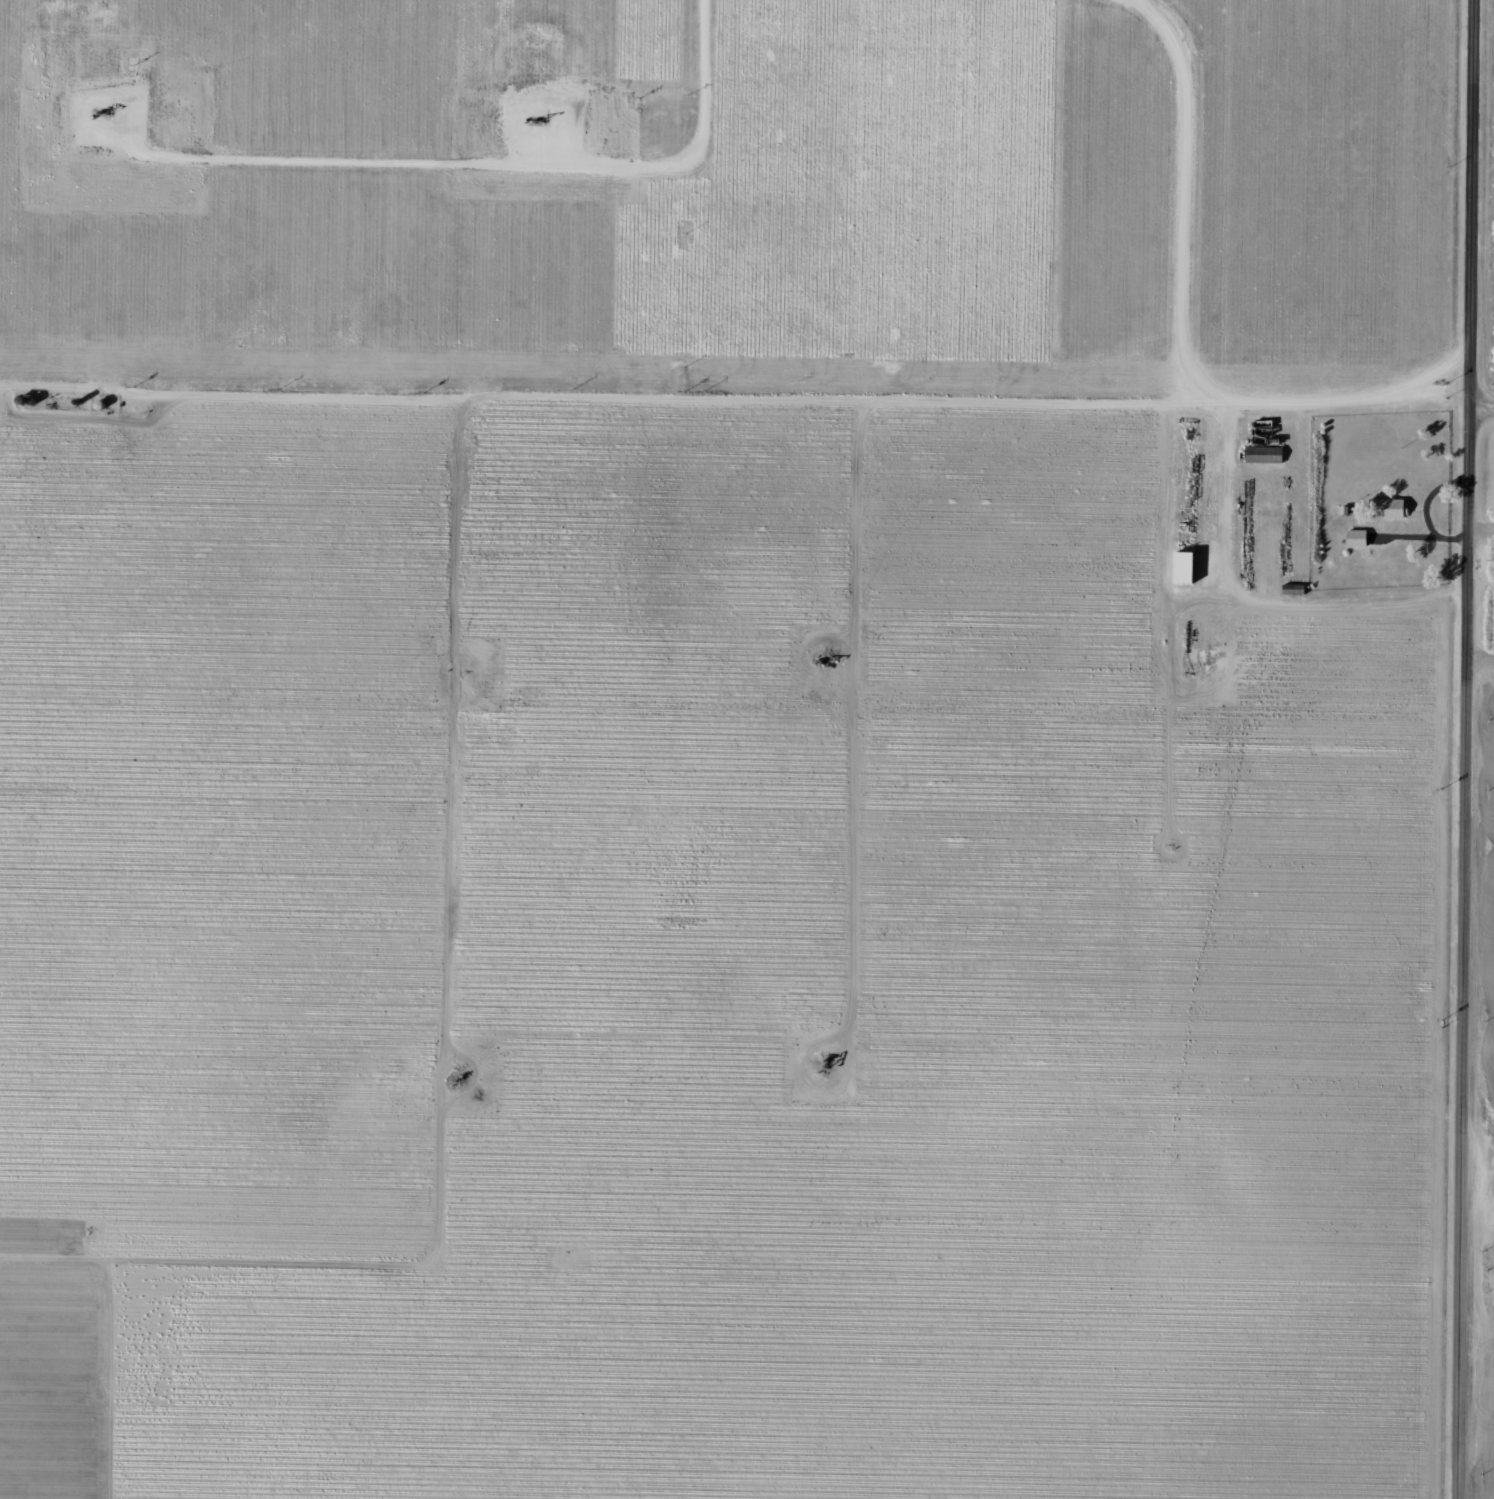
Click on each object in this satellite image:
road: (1215, 208)
road: (735, 414)
road: (1482, 428)
building: (1388, 506)
building: (1357, 537)
road: (1466, 749)

